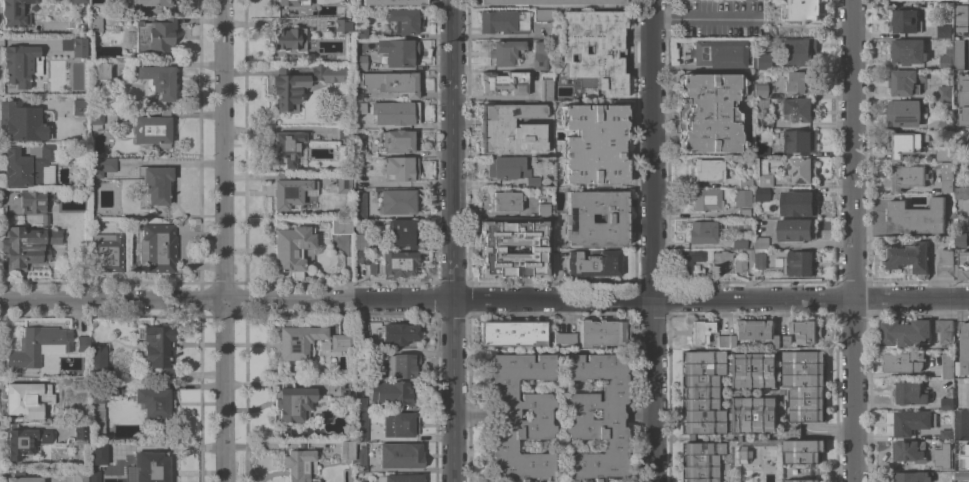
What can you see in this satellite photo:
building: (893, 0)
building: (916, 0)
building: (921, 0)
building: (930, 0)
building: (935, 0)
building: (80, 1)
building: (153, 2)
building: (291, 2)
building: (393, 2)
building: (552, 2)
building: (802, 9)
building: (962, 12)
building: (15, 13)
building: (543, 14)
road: (702, 17)
building: (403, 20)
building: (503, 21)
building: (907, 21)
building: (96, 22)
building: (364, 22)
building: (343, 25)
building: (944, 30)
building: (770, 31)
building: (360, 32)
building: (155, 35)
building: (290, 38)
building: (74, 45)
building: (595, 48)
building: (398, 51)
building: (504, 51)
building: (798, 51)
building: (908, 51)
building: (719, 53)
building: (957, 53)
building: (539, 54)
building: (944, 57)
building: (761, 61)
building: (360, 62)
building: (21, 64)
building: (97, 68)
building: (328, 73)
building: (159, 80)
building: (586, 81)
building: (905, 81)
building: (392, 82)
building: (504, 82)
building: (799, 82)
building: (287, 87)
building: (546, 87)
building: (759, 90)
building: (943, 92)
building: (965, 100)
building: (80, 104)
building: (359, 107)
building: (797, 109)
building: (394, 112)
building: (710, 112)
building: (904, 112)
building: (761, 113)
building: (95, 118)
building: (21, 121)
building: (944, 125)
building: (510, 128)
building: (153, 129)
building: (345, 133)
building: (396, 140)
building: (799, 140)
building: (593, 143)
building: (760, 144)
building: (904, 144)
building: (287, 147)
building: (361, 150)
building: (942, 154)
building: (27, 165)
building: (101, 165)
building: (760, 165)
building: (934, 165)
building: (508, 166)
building: (749, 166)
building: (400, 168)
building: (708, 169)
building: (802, 169)
building: (909, 176)
building: (944, 176)
building: (745, 179)
building: (765, 179)
building: (532, 181)
building: (344, 182)
building: (156, 183)
building: (289, 190)
building: (961, 192)
building: (760, 194)
building: (741, 197)
building: (706, 199)
building: (33, 200)
building: (395, 200)
building: (505, 200)
building: (631, 202)
building: (799, 203)
building: (359, 205)
building: (543, 210)
building: (745, 212)
building: (916, 217)
building: (45, 218)
building: (576, 218)
building: (964, 220)
building: (341, 225)
building: (958, 226)
building: (965, 226)
building: (797, 229)
building: (702, 231)
building: (403, 232)
building: (360, 238)
building: (962, 239)
road: (223, 240)
road: (851, 240)
road: (451, 241)
road: (651, 241)
building: (738, 241)
building: (759, 242)
building: (28, 245)
building: (158, 247)
building: (491, 249)
building: (293, 250)
building: (107, 252)
building: (360, 256)
building: (909, 256)
building: (720, 258)
building: (759, 258)
building: (744, 261)
building: (399, 263)
building: (593, 263)
building: (799, 263)
building: (943, 263)
building: (964, 265)
building: (371, 268)
building: (684, 268)
building: (956, 269)
road: (484, 299)
building: (754, 329)
building: (806, 330)
building: (700, 331)
building: (943, 331)
building: (512, 332)
building: (602, 332)
building: (904, 332)
building: (398, 333)
building: (565, 338)
building: (297, 340)
building: (341, 341)
building: (363, 341)
building: (725, 341)
building: (783, 341)
building: (158, 347)
building: (30, 348)
building: (965, 348)
building: (98, 358)
building: (904, 361)
building: (401, 365)
building: (946, 366)
building: (726, 368)
building: (753, 369)
building: (805, 384)
building: (346, 387)
building: (80, 389)
building: (102, 389)
building: (702, 391)
building: (389, 392)
building: (734, 392)
building: (911, 392)
building: (946, 399)
building: (24, 400)
building: (294, 402)
building: (153, 403)
building: (360, 403)
building: (753, 413)
building: (727, 415)
building: (506, 418)
road: (887, 420)
building: (912, 422)
building: (401, 423)
building: (97, 424)
building: (961, 425)
building: (362, 427)
building: (80, 429)
building: (945, 434)
building: (23, 440)
building: (122, 443)
building: (347, 450)
building: (803, 450)
building: (909, 451)
building: (99, 453)
building: (744, 454)
building: (400, 455)
building: (360, 456)
building: (701, 461)
building: (963, 462)
building: (945, 463)
building: (298, 465)
building: (152, 466)
building: (962, 475)
building: (80, 476)
building: (95, 476)
building: (913, 476)
building: (22, 477)
building: (400, 478)
building: (803, 480)

